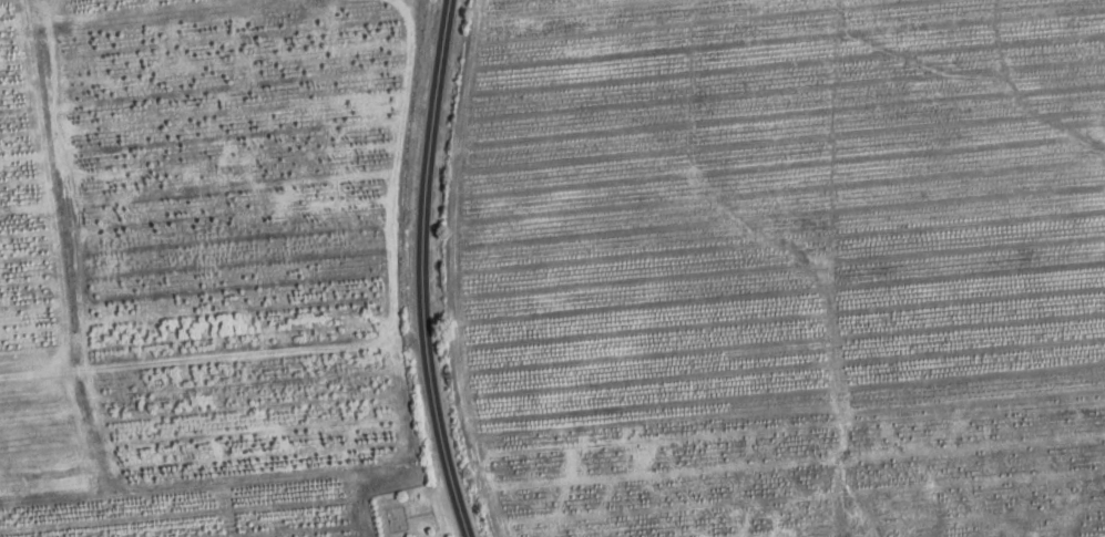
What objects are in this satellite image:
road: (421, 269)

